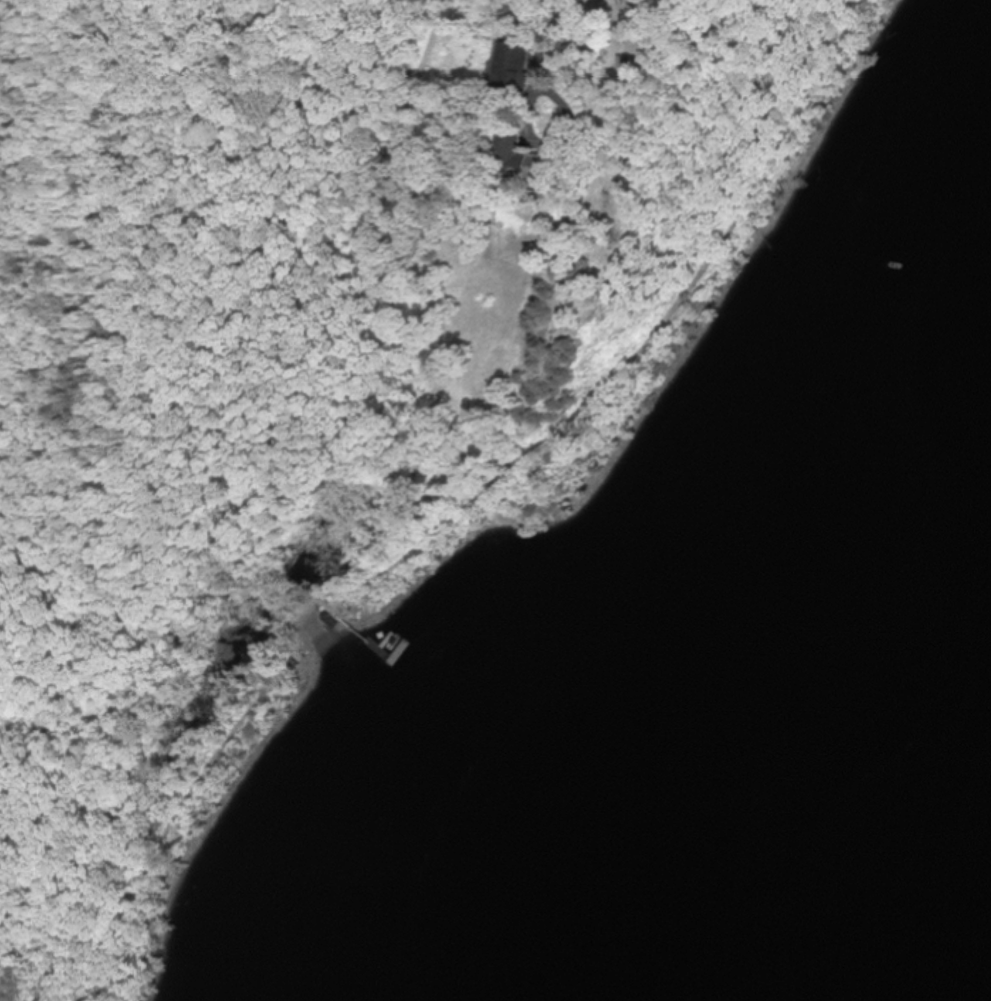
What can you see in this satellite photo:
road: (540, 15)
building: (512, 66)
building: (519, 158)

